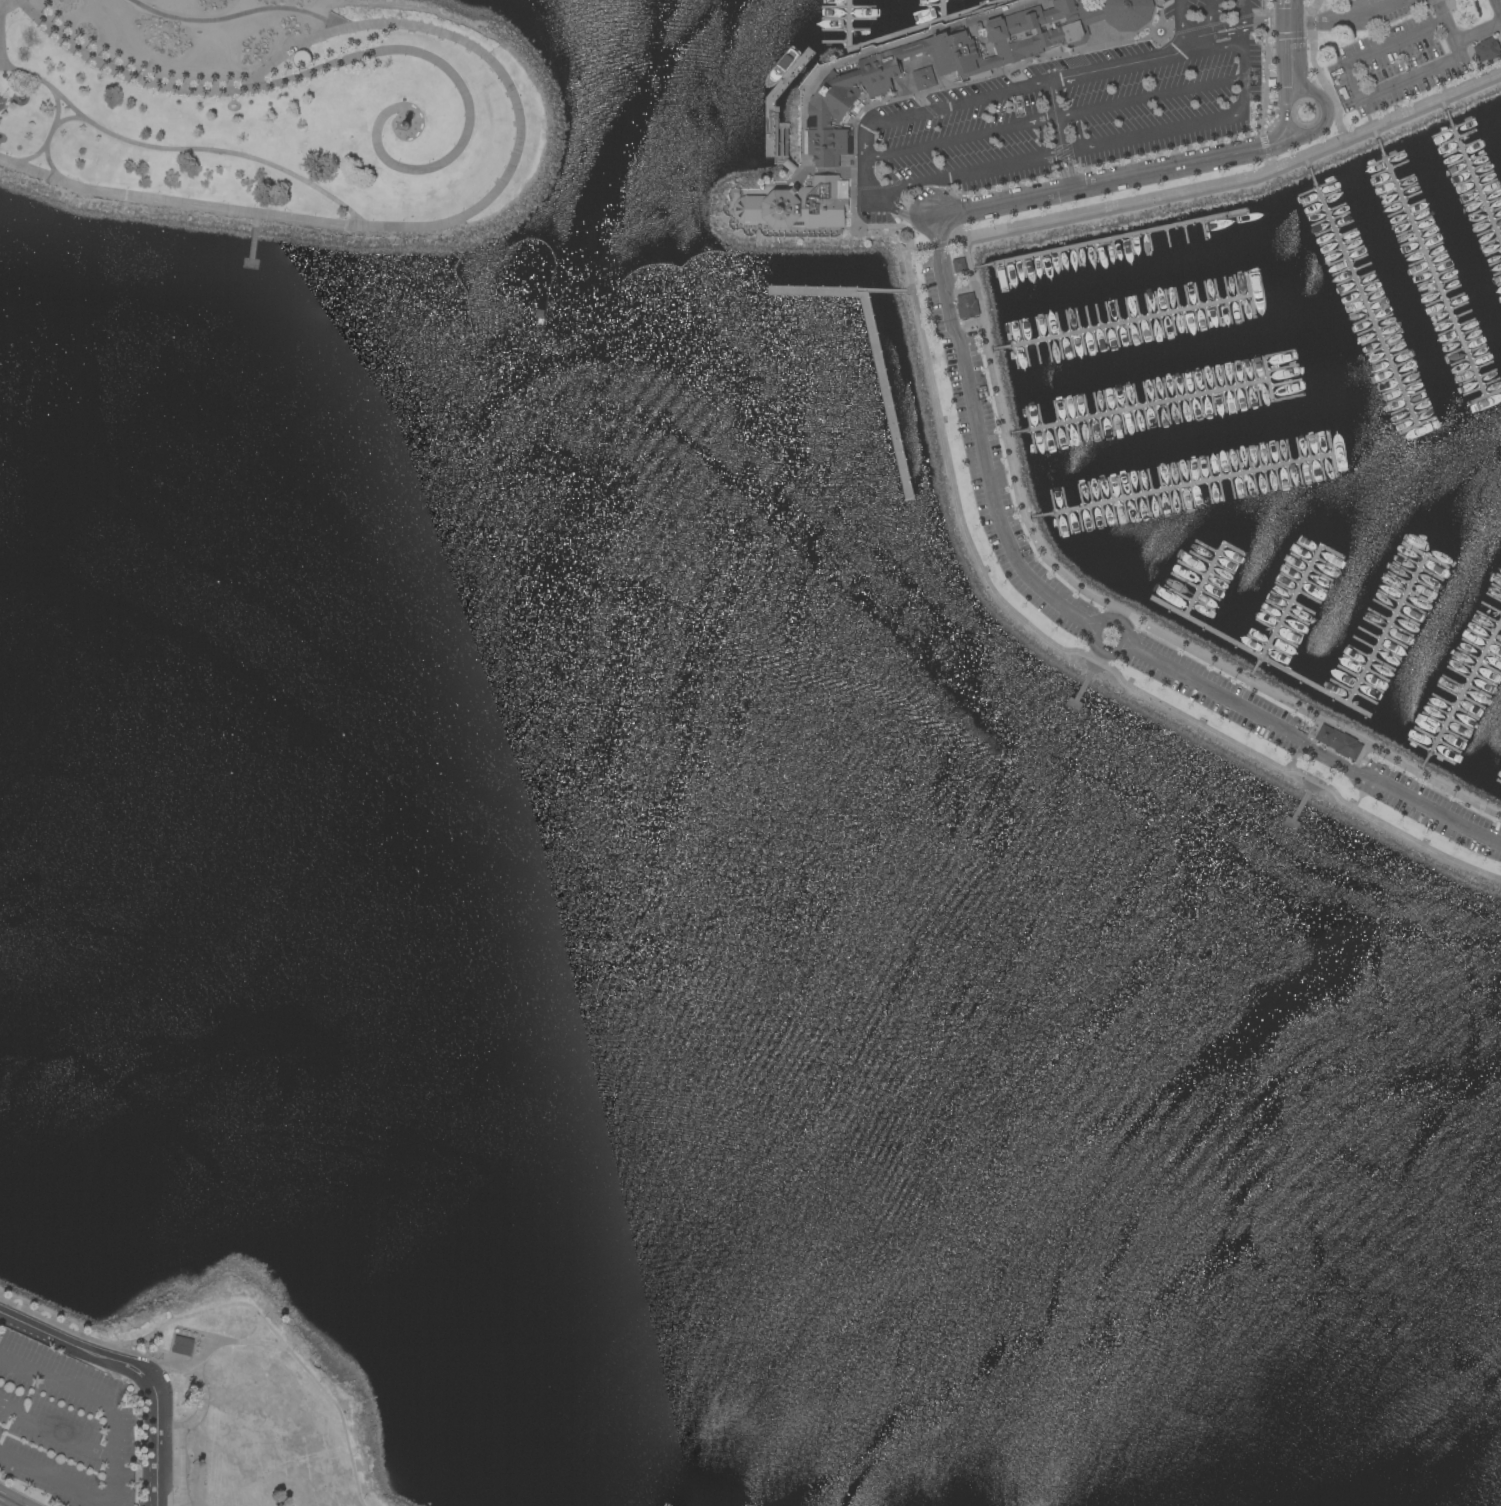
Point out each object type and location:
road: (1, 2)
park: (1321, 5)
road: (1498, 5)
road: (1265, 7)
road: (1442, 11)
pier: (943, 12)
road: (1232, 12)
road: (240, 14)
road: (1209, 16)
road: (1184, 18)
pier: (849, 19)
road: (1349, 19)
road: (1265, 22)
road: (1153, 24)
pier: (929, 25)
road: (1168, 25)
road: (1237, 25)
building: (960, 29)
road: (1479, 33)
road: (1288, 35)
road: (1130, 41)
road: (1228, 46)
parking lot: (1405, 47)
road: (1292, 48)
road: (880, 50)
building: (1487, 50)
building: (301, 58)
building: (961, 59)
road: (1317, 70)
road: (119, 72)
road: (500, 72)
building: (923, 77)
road: (969, 82)
road: (1265, 82)
road: (1018, 87)
road: (23, 93)
road: (465, 98)
road: (1151, 98)
road: (1362, 98)
road: (1052, 99)
road: (7, 100)
road: (1, 103)
road: (55, 107)
pier: (771, 115)
road: (67, 116)
park: (278, 116)
road: (401, 116)
building: (405, 124)
road: (1320, 128)
road: (962, 138)
road: (1077, 148)
road: (209, 150)
road: (1266, 151)
road: (1064, 154)
road: (50, 164)
road: (794, 170)
building: (1044, 172)
road: (1242, 177)
pier: (1473, 181)
road: (783, 183)
road: (175, 201)
road: (891, 203)
building: (799, 204)
road: (892, 226)
road: (252, 238)
pier: (1113, 241)
pier: (250, 251)
road: (943, 263)
building: (959, 264)
pier: (1432, 272)
pier: (1363, 300)
building: (967, 305)
pier: (1124, 325)
pier: (887, 398)
pier: (1140, 409)
pier: (1184, 487)
pier: (1425, 557)
pier: (1206, 573)
pier: (1292, 598)
road: (1122, 613)
pier: (1386, 633)
road: (1057, 647)
road: (1098, 647)
pier: (1260, 659)
pier: (1080, 694)
pier: (1462, 696)
building: (1338, 741)
road: (1302, 744)
road: (1314, 744)
pier: (1296, 814)
river: (750, 905)
road: (255, 1329)
road: (196, 1335)
road: (277, 1337)
road: (230, 1340)
road: (157, 1342)
building: (181, 1345)
road: (156, 1358)
road: (134, 1368)
park: (255, 1407)
road: (56, 1430)
road: (112, 1453)
road: (180, 1499)
road: (183, 1499)
road: (11, 1500)
road: (155, 1502)
road: (0, 1505)

